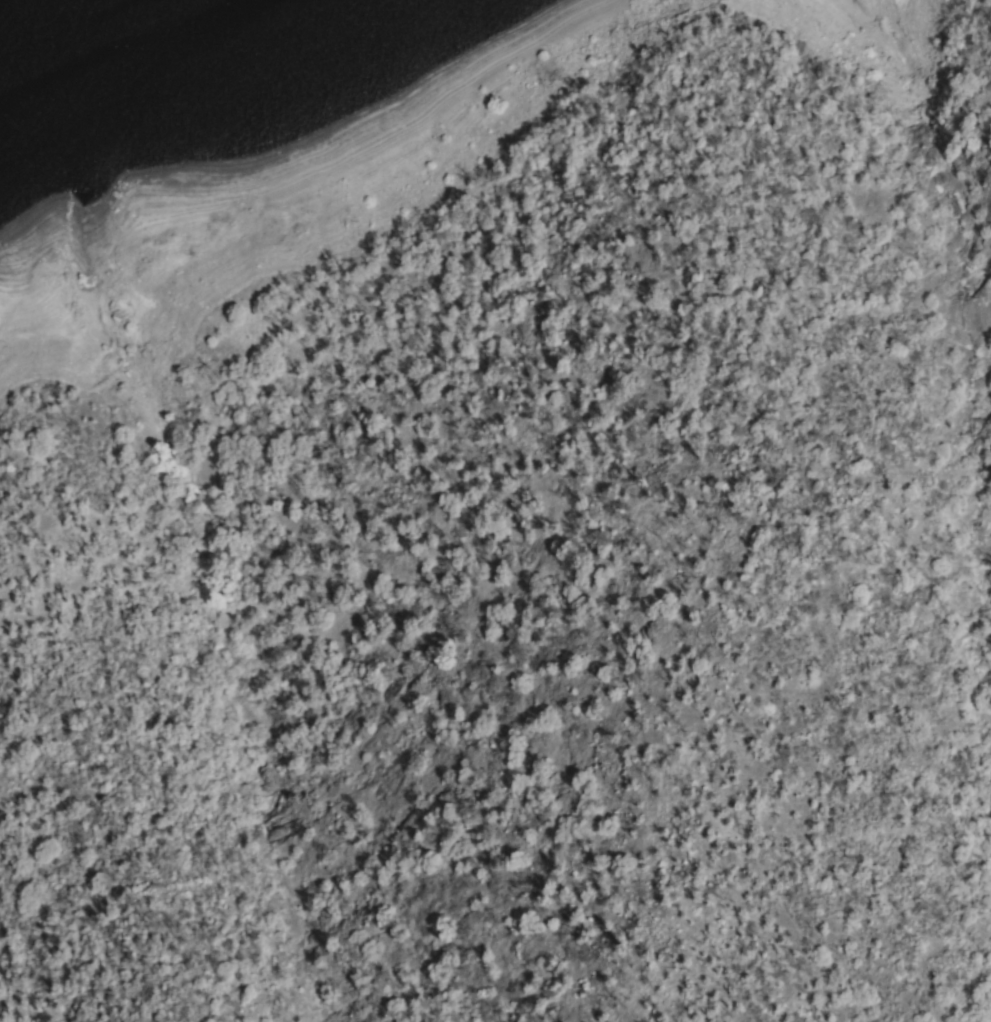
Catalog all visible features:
river: (241, 61)
river: (73, 157)

